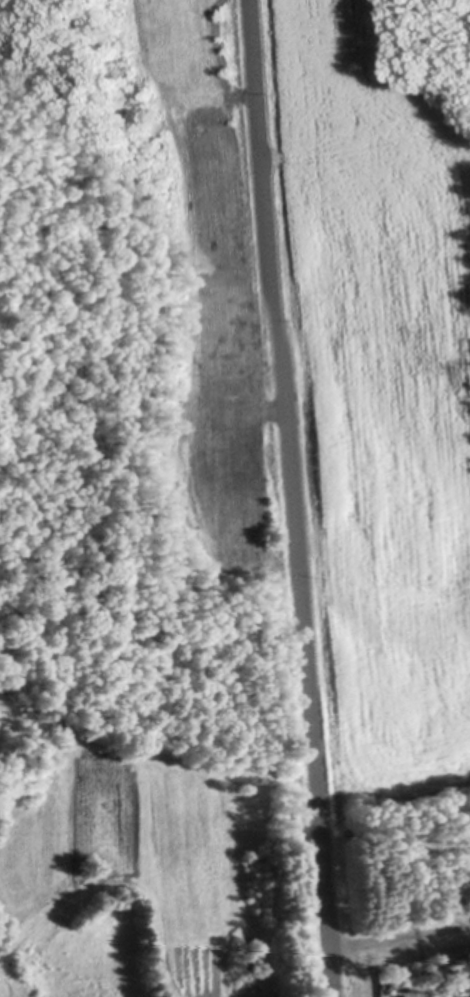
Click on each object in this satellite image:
road: (291, 498)
road: (398, 932)
building: (459, 949)
building: (277, 994)

